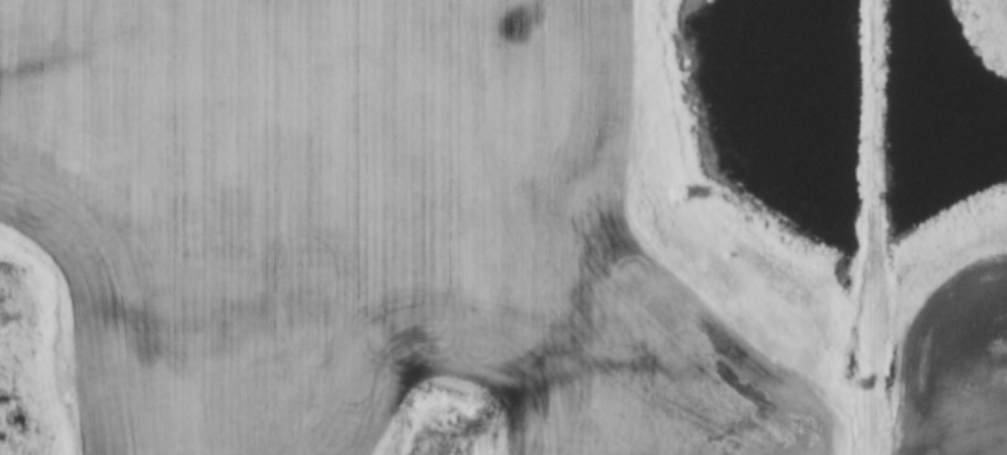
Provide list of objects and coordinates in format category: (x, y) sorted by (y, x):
road: (876, 227)

